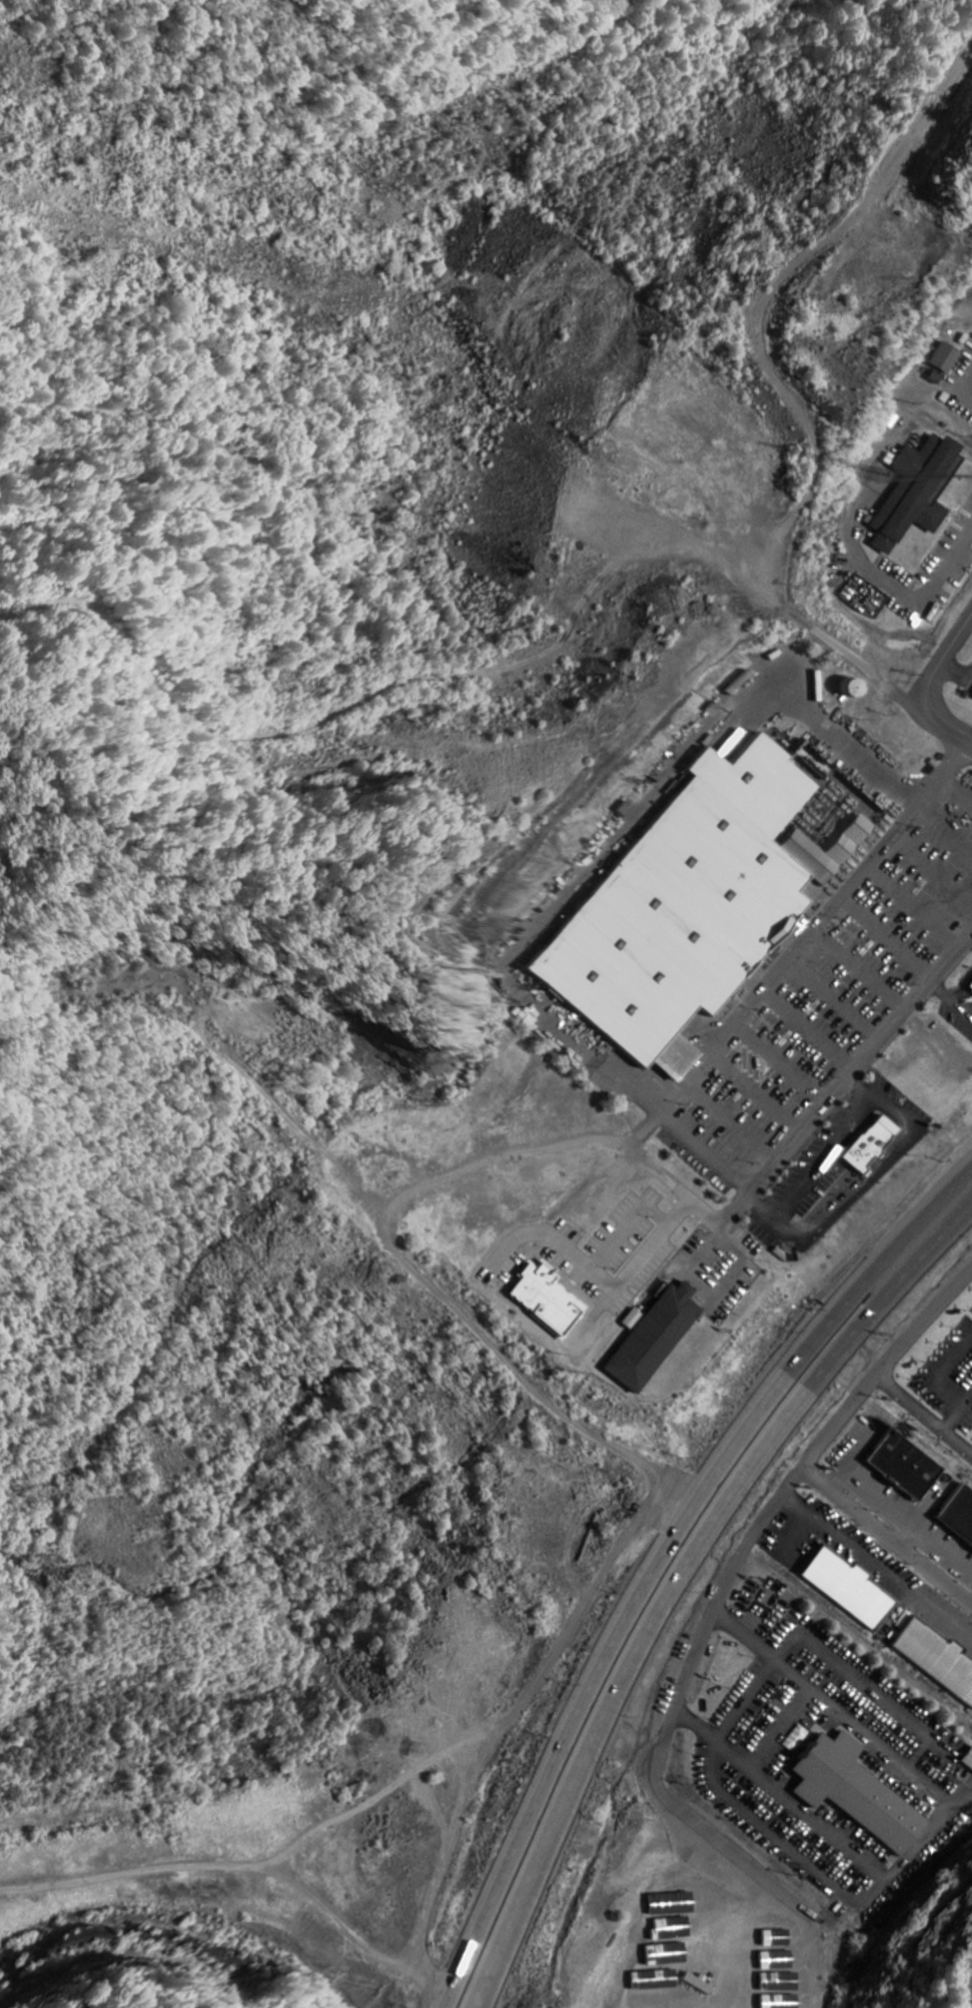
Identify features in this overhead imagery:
road: (962, 379)
building: (916, 491)
road: (867, 562)
road: (955, 676)
road: (926, 688)
road: (678, 768)
road: (956, 792)
road: (944, 832)
road: (932, 873)
building: (683, 906)
road: (910, 909)
road: (811, 929)
road: (885, 939)
road: (857, 972)
building: (971, 989)
road: (830, 1002)
road: (805, 1031)
building: (670, 1061)
road: (777, 1065)
road: (612, 1071)
road: (849, 1075)
road: (752, 1096)
road: (726, 1126)
building: (866, 1147)
road: (701, 1154)
road: (818, 1163)
road: (868, 1183)
building: (547, 1300)
building: (646, 1342)
building: (907, 1465)
road: (794, 1475)
building: (960, 1514)
road: (658, 1557)
road: (680, 1582)
building: (851, 1588)
building: (938, 1657)
building: (968, 1760)
building: (859, 1793)
building: (673, 1904)
building: (669, 1954)
building: (656, 1980)

